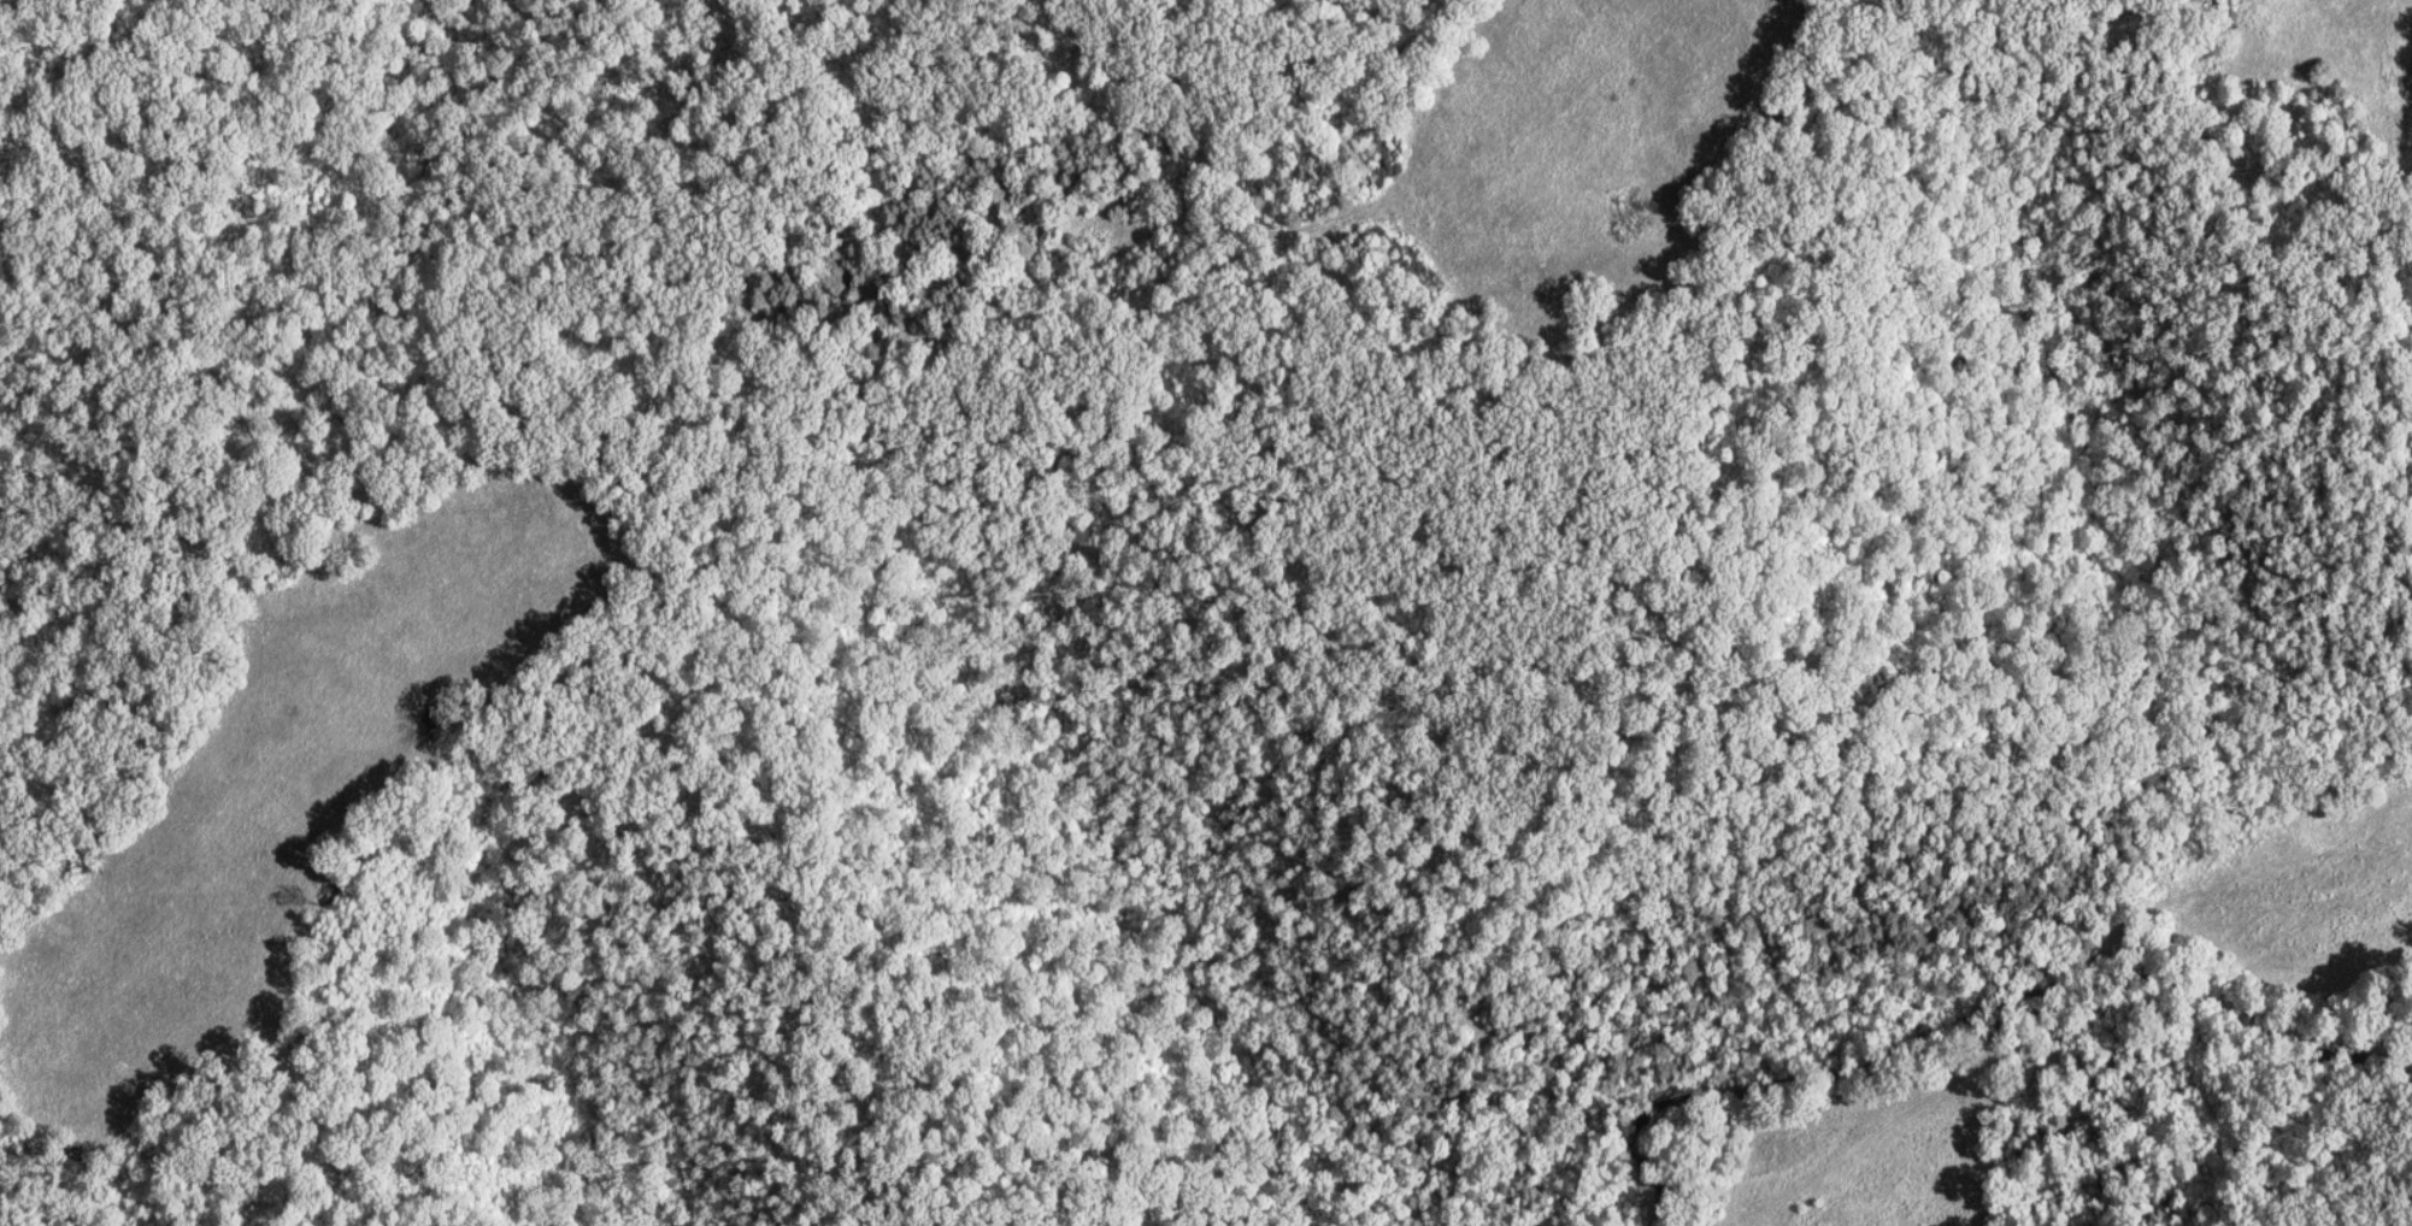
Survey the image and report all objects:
road: (2326, 798)

